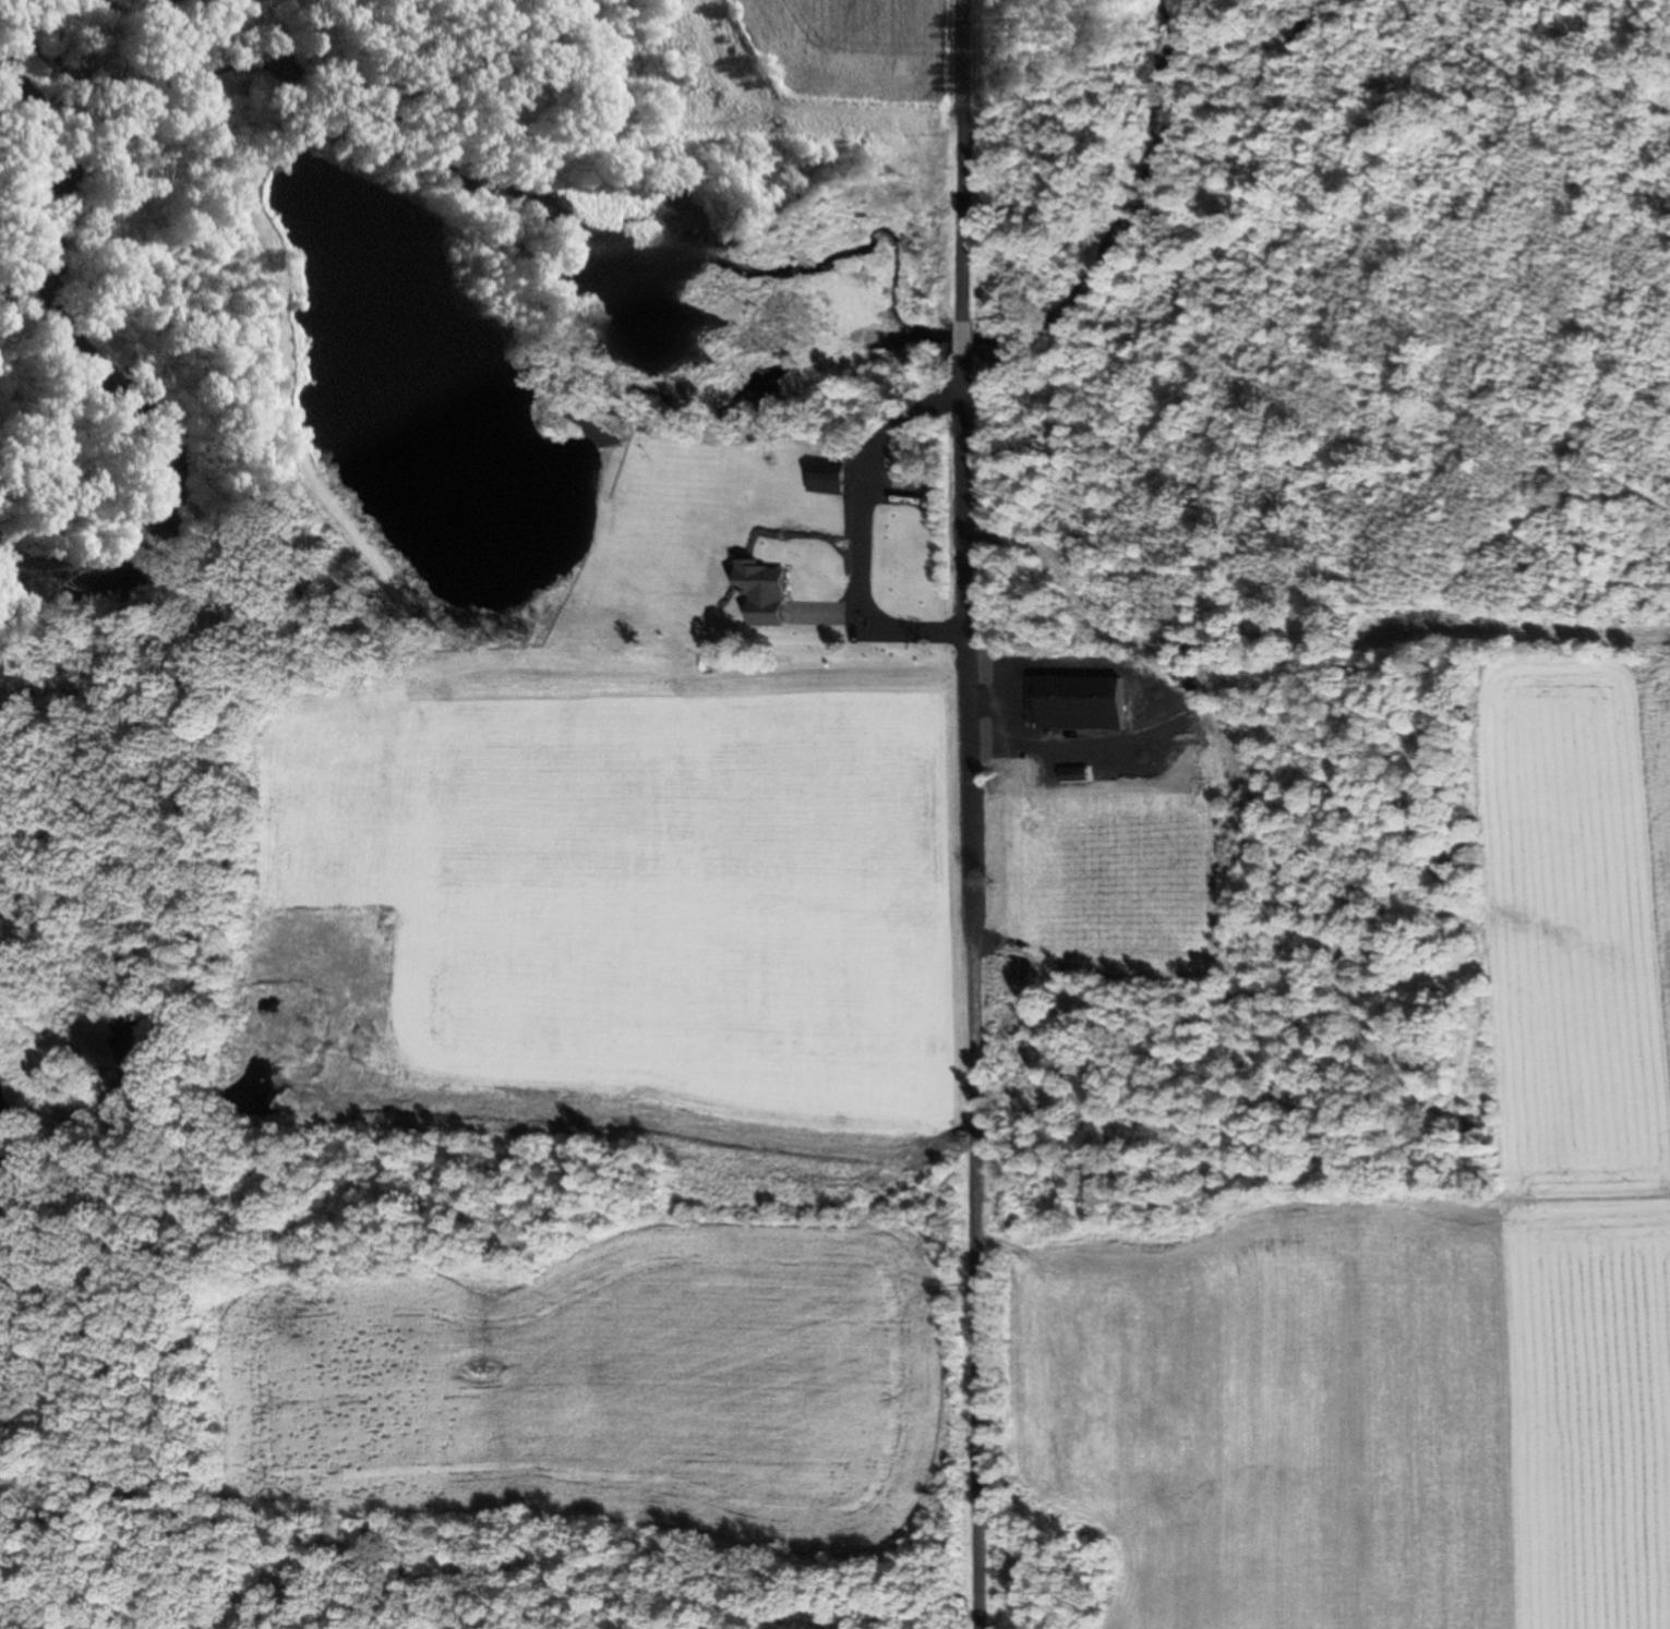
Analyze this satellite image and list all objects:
river: (36, 92)
river: (133, 389)
road: (862, 530)
road: (968, 813)
river: (108, 1060)

